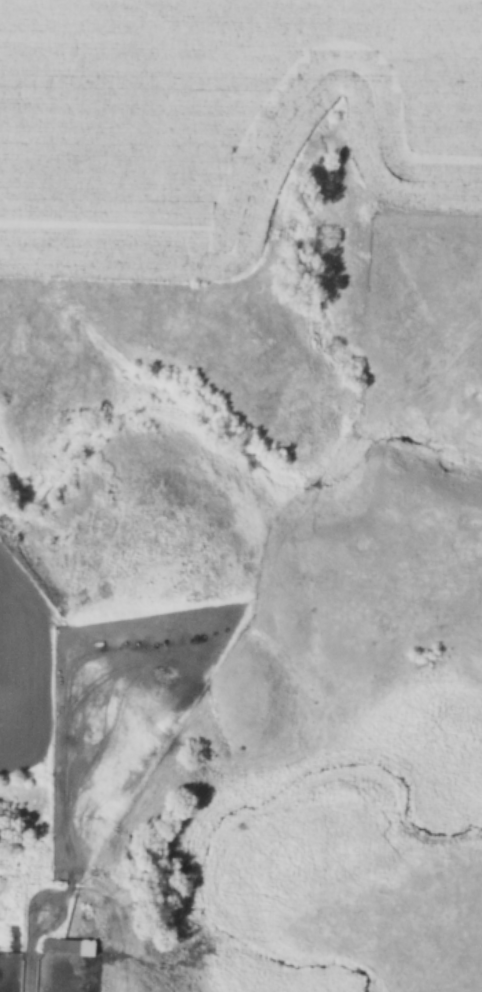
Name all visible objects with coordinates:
building: (65, 948)

